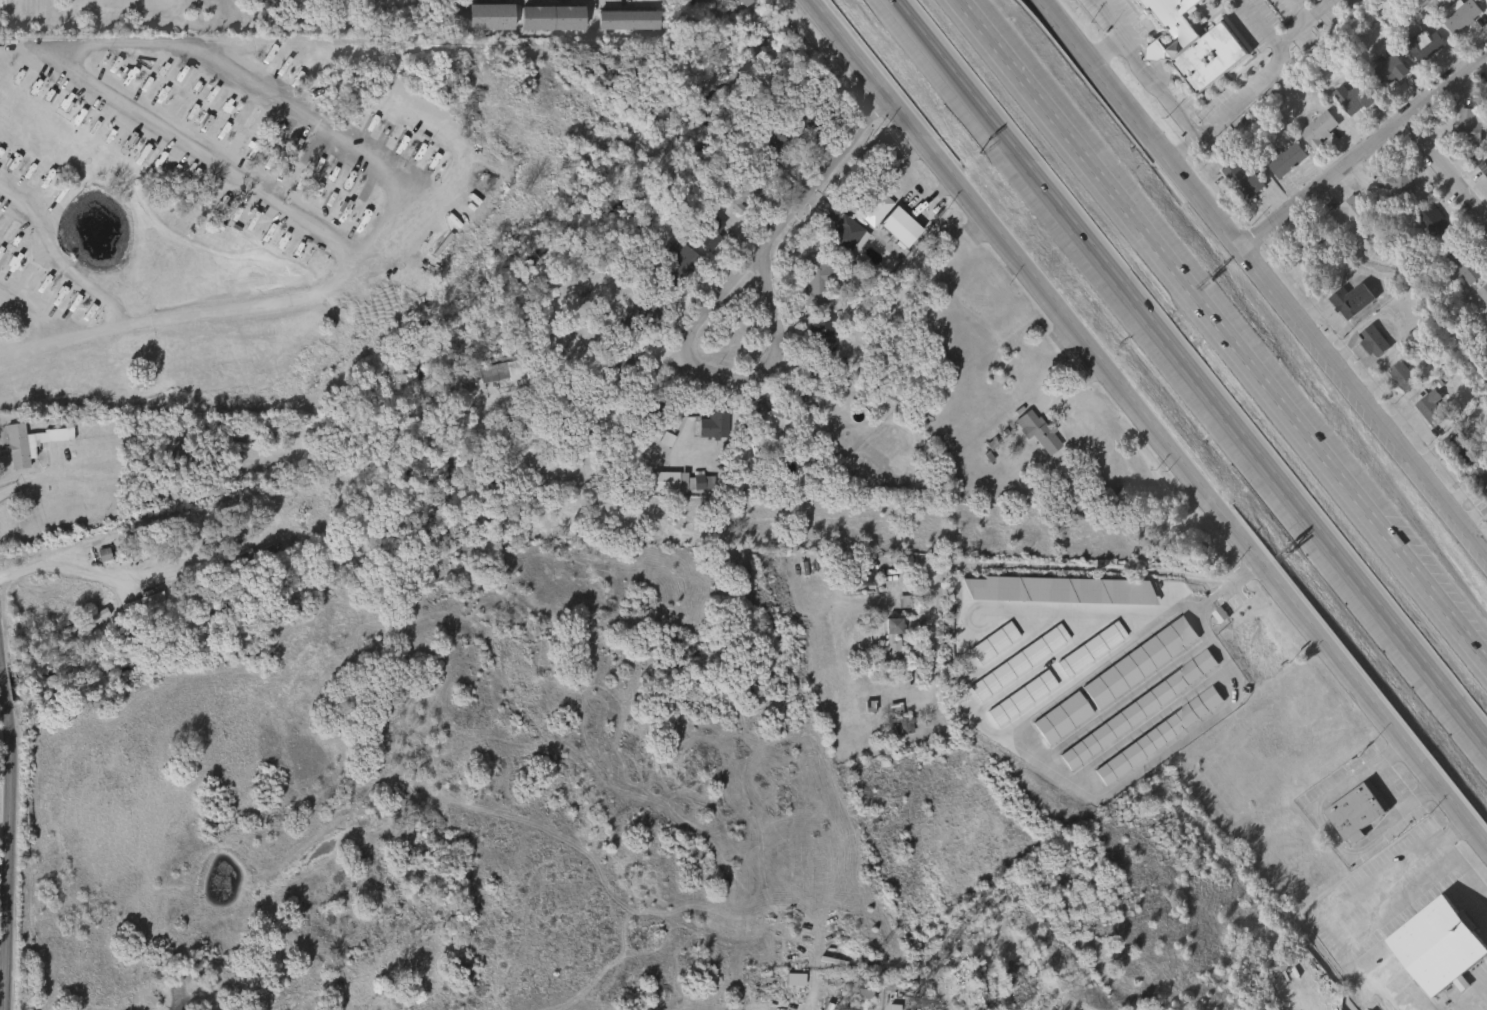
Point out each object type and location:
building: (1485, 1)
building: (743, 3)
building: (1457, 17)
building: (490, 18)
building: (551, 19)
building: (626, 21)
road: (1123, 32)
road: (1134, 39)
building: (1190, 44)
building: (1419, 46)
road: (1148, 52)
building: (1389, 71)
road: (232, 72)
road: (1254, 86)
building: (1484, 91)
building: (1352, 97)
road: (1165, 100)
building: (1466, 125)
building: (1318, 129)
road: (1364, 146)
building: (1285, 160)
building: (1482, 168)
road: (1442, 173)
road: (825, 175)
building: (1240, 181)
building: (1392, 187)
building: (745, 194)
building: (1346, 213)
building: (1433, 226)
building: (898, 227)
building: (707, 233)
building: (674, 258)
building: (1465, 266)
road: (1266, 276)
building: (814, 280)
building: (1483, 294)
road: (96, 296)
building: (1349, 301)
building: (525, 332)
road: (1220, 334)
building: (820, 337)
building: (1371, 341)
road: (783, 359)
building: (497, 372)
road: (1189, 376)
building: (1400, 377)
road: (608, 387)
building: (1427, 408)
building: (764, 420)
road: (1149, 423)
building: (711, 426)
building: (1036, 434)
building: (27, 444)
building: (1457, 449)
building: (170, 465)
building: (1479, 481)
building: (663, 483)
building: (352, 505)
building: (1162, 526)
road: (64, 569)
building: (143, 610)
building: (891, 645)
building: (1137, 662)
building: (1136, 709)
building: (1059, 719)
building: (898, 721)
building: (1156, 735)
building: (1351, 811)
road: (3, 841)
road: (1462, 871)
road: (1397, 900)
road: (1350, 901)
building: (1433, 945)
building: (862, 990)
road: (1471, 993)
building: (1338, 1009)

